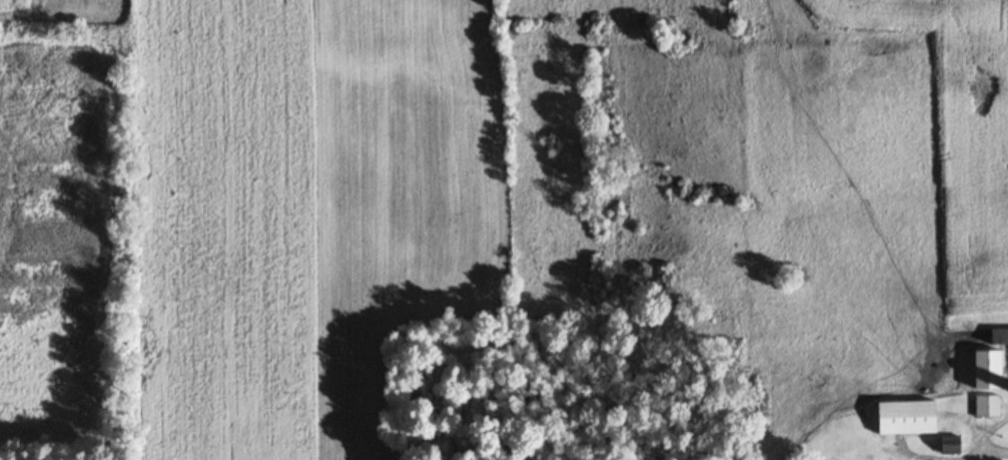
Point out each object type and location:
road: (965, 43)
building: (1001, 338)
road: (934, 364)
building: (992, 371)
building: (989, 407)
building: (911, 419)

